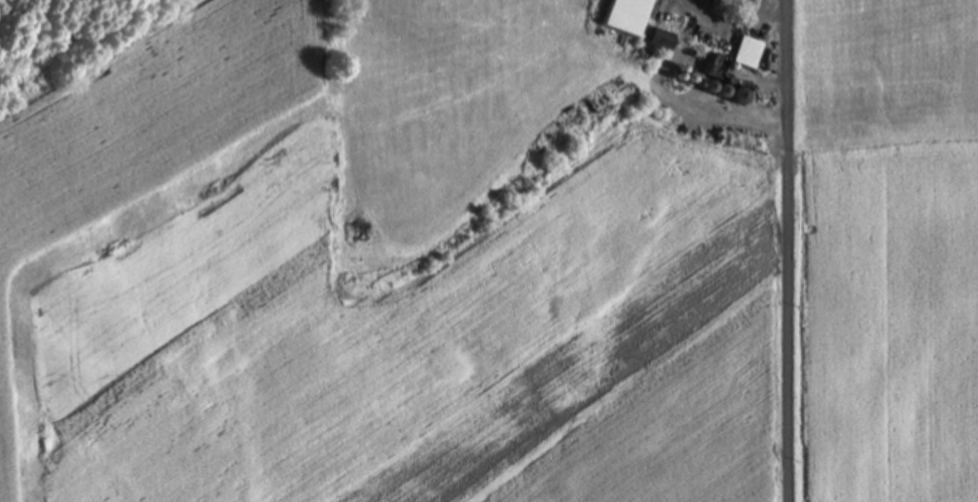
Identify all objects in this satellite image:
building: (746, 55)
road: (785, 251)

